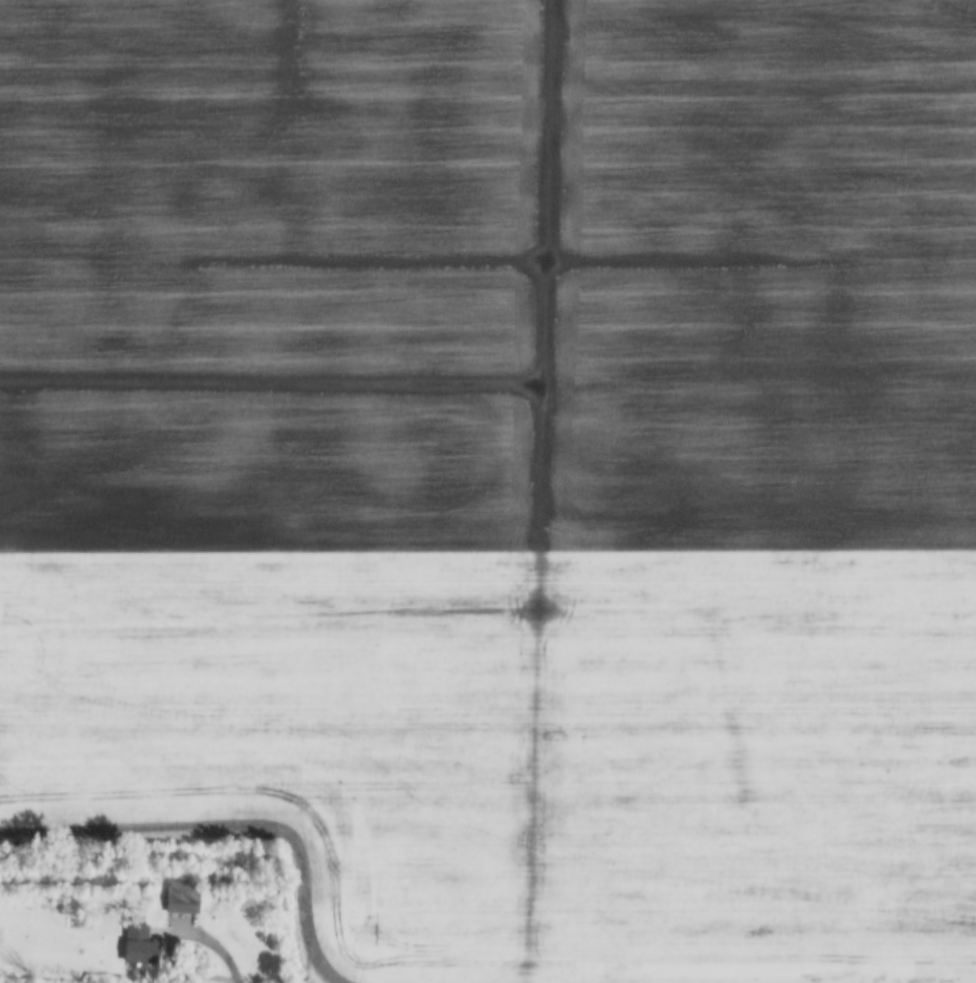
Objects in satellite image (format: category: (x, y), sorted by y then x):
crop: (504, 471)
building: (181, 896)
road: (209, 942)
building: (138, 944)

